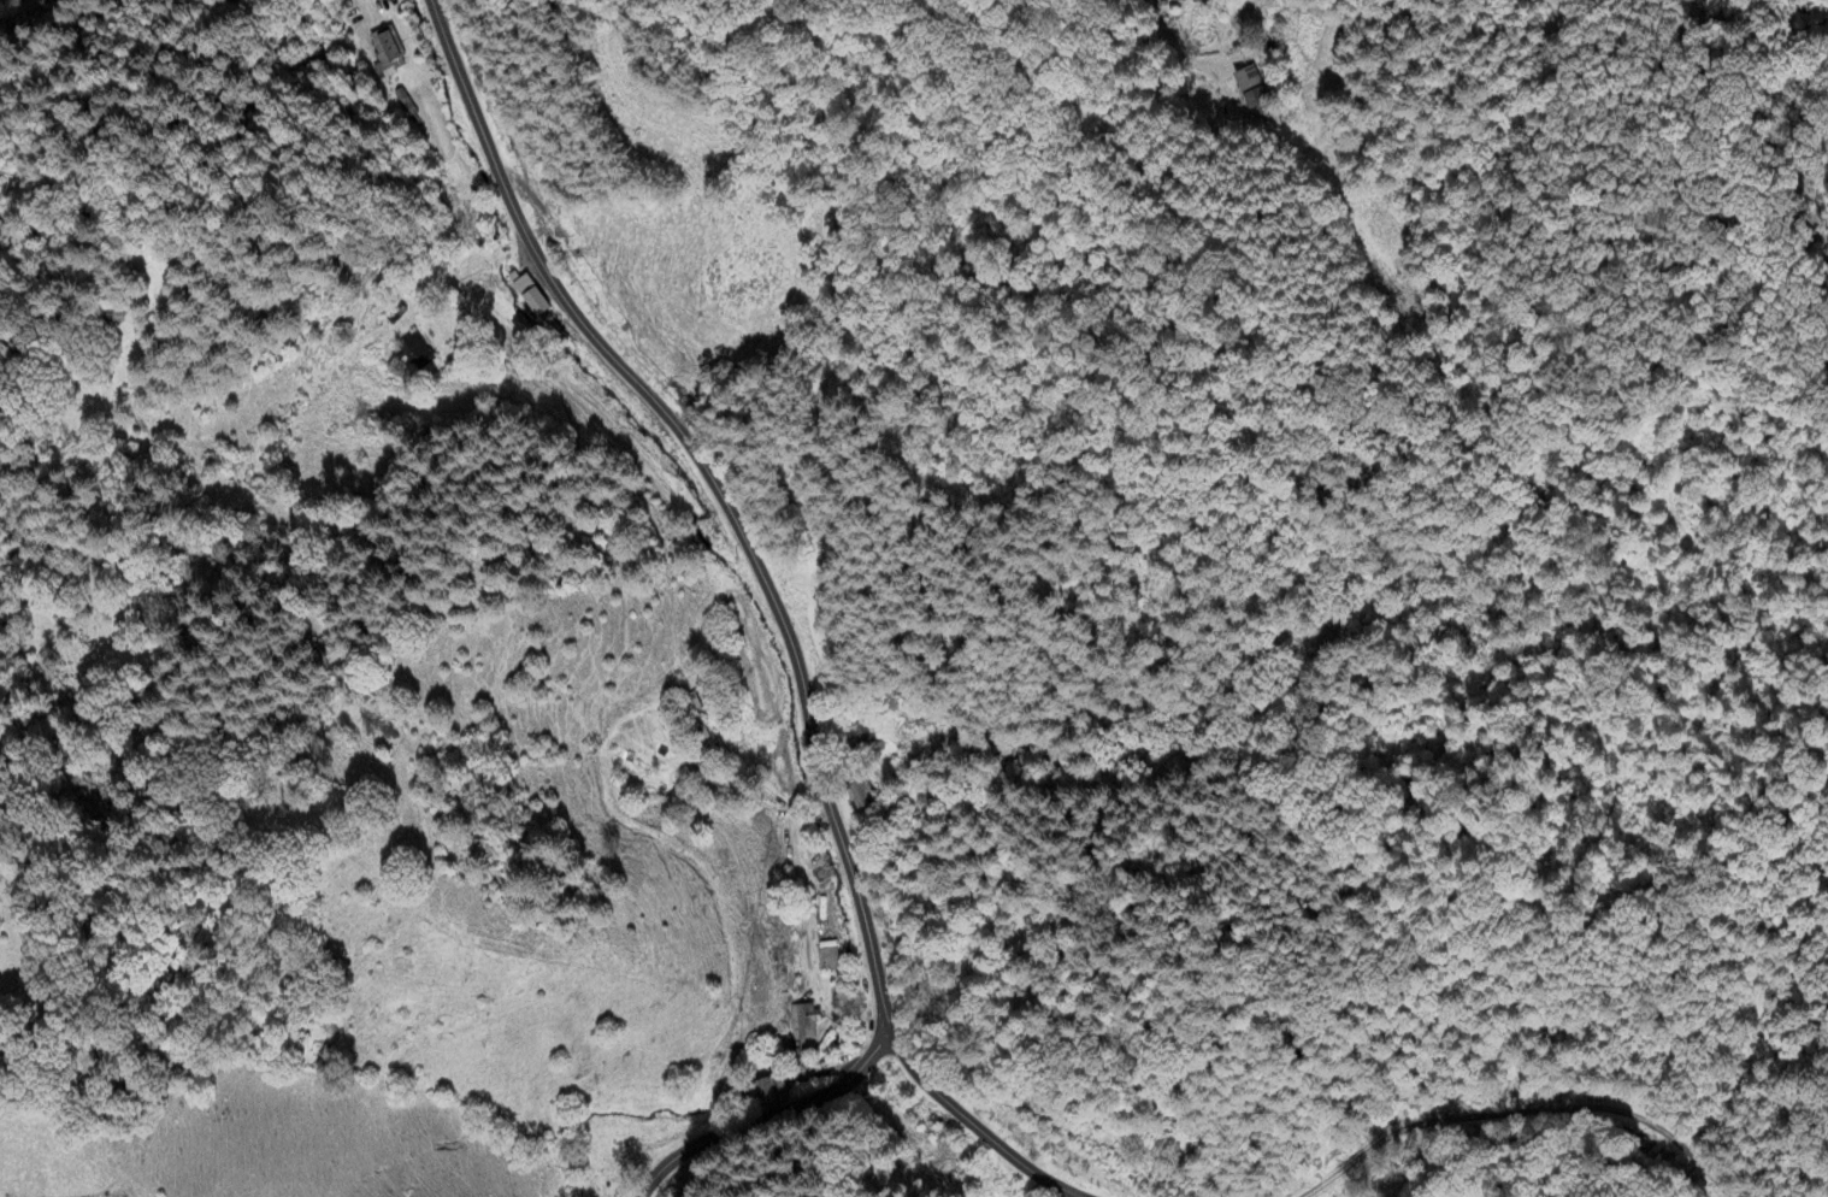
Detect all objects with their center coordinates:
road: (39, 25)
building: (387, 52)
building: (1252, 94)
building: (412, 355)
road: (718, 493)
building: (855, 800)
building: (801, 1020)
building: (768, 1091)
road: (761, 1116)
road: (979, 1132)

